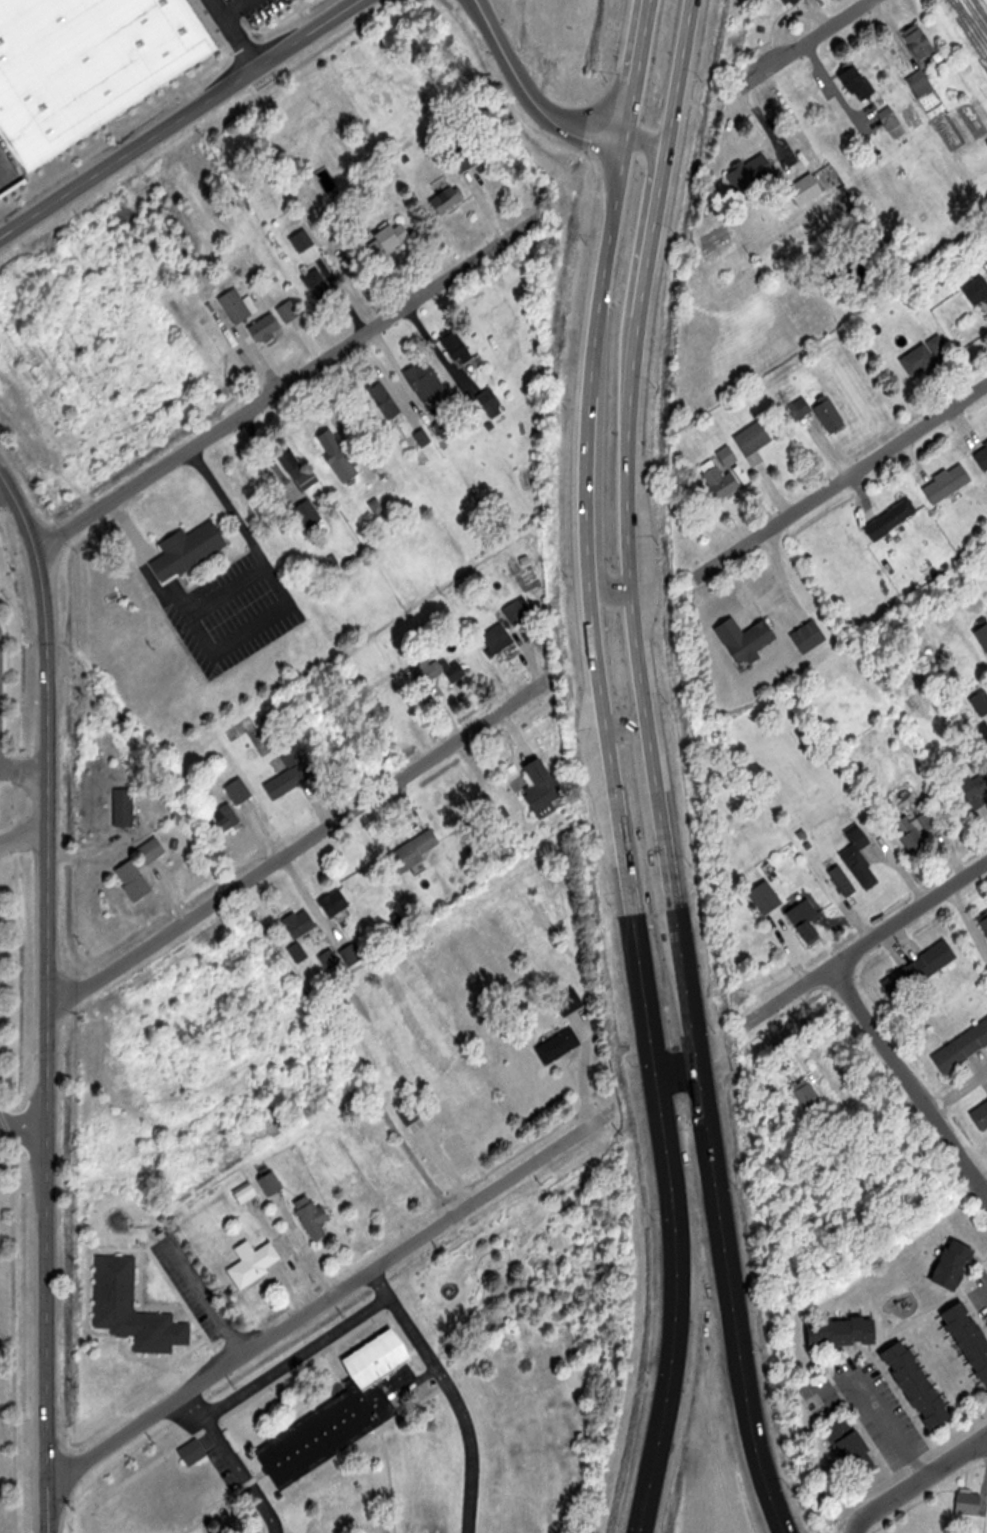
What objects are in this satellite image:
building: (792, 2)
road: (227, 29)
building: (921, 41)
road: (796, 45)
building: (87, 65)
building: (858, 82)
road: (523, 99)
road: (168, 110)
building: (891, 117)
building: (467, 159)
building: (753, 172)
building: (807, 188)
road: (650, 194)
building: (449, 199)
building: (389, 238)
building: (320, 285)
building: (977, 289)
building: (239, 304)
building: (275, 320)
building: (459, 347)
building: (927, 355)
road: (298, 372)
building: (428, 381)
building: (386, 401)
building: (492, 402)
building: (822, 412)
building: (446, 426)
building: (756, 436)
building: (424, 437)
building: (982, 455)
building: (299, 469)
building: (722, 473)
road: (851, 473)
building: (955, 478)
road: (4, 488)
building: (307, 513)
building: (893, 518)
building: (191, 548)
building: (931, 567)
road: (601, 582)
building: (519, 608)
building: (809, 635)
building: (499, 637)
building: (748, 639)
building: (440, 670)
building: (981, 701)
road: (641, 744)
road: (610, 767)
road: (652, 769)
road: (24, 770)
building: (290, 772)
building: (544, 785)
building: (975, 789)
building: (240, 790)
building: (126, 806)
building: (227, 816)
building: (932, 820)
road: (23, 833)
building: (912, 836)
road: (299, 840)
building: (153, 849)
building: (416, 849)
building: (862, 866)
building: (136, 880)
building: (758, 892)
building: (336, 901)
building: (301, 922)
building: (984, 924)
building: (808, 925)
road: (872, 934)
building: (299, 952)
building: (353, 953)
building: (330, 958)
building: (921, 969)
road: (48, 998)
building: (571, 1000)
building: (560, 1045)
building: (962, 1048)
road: (676, 1075)
road: (908, 1079)
building: (808, 1095)
building: (411, 1114)
building: (981, 1116)
road: (22, 1128)
building: (462, 1151)
building: (273, 1184)
building: (246, 1192)
building: (315, 1217)
building: (959, 1264)
building: (257, 1265)
road: (326, 1301)
building: (134, 1308)
building: (848, 1331)
building: (972, 1332)
building: (923, 1385)
road: (445, 1394)
building: (345, 1410)
building: (854, 1447)
building: (194, 1451)
road: (916, 1481)
building: (970, 1502)

